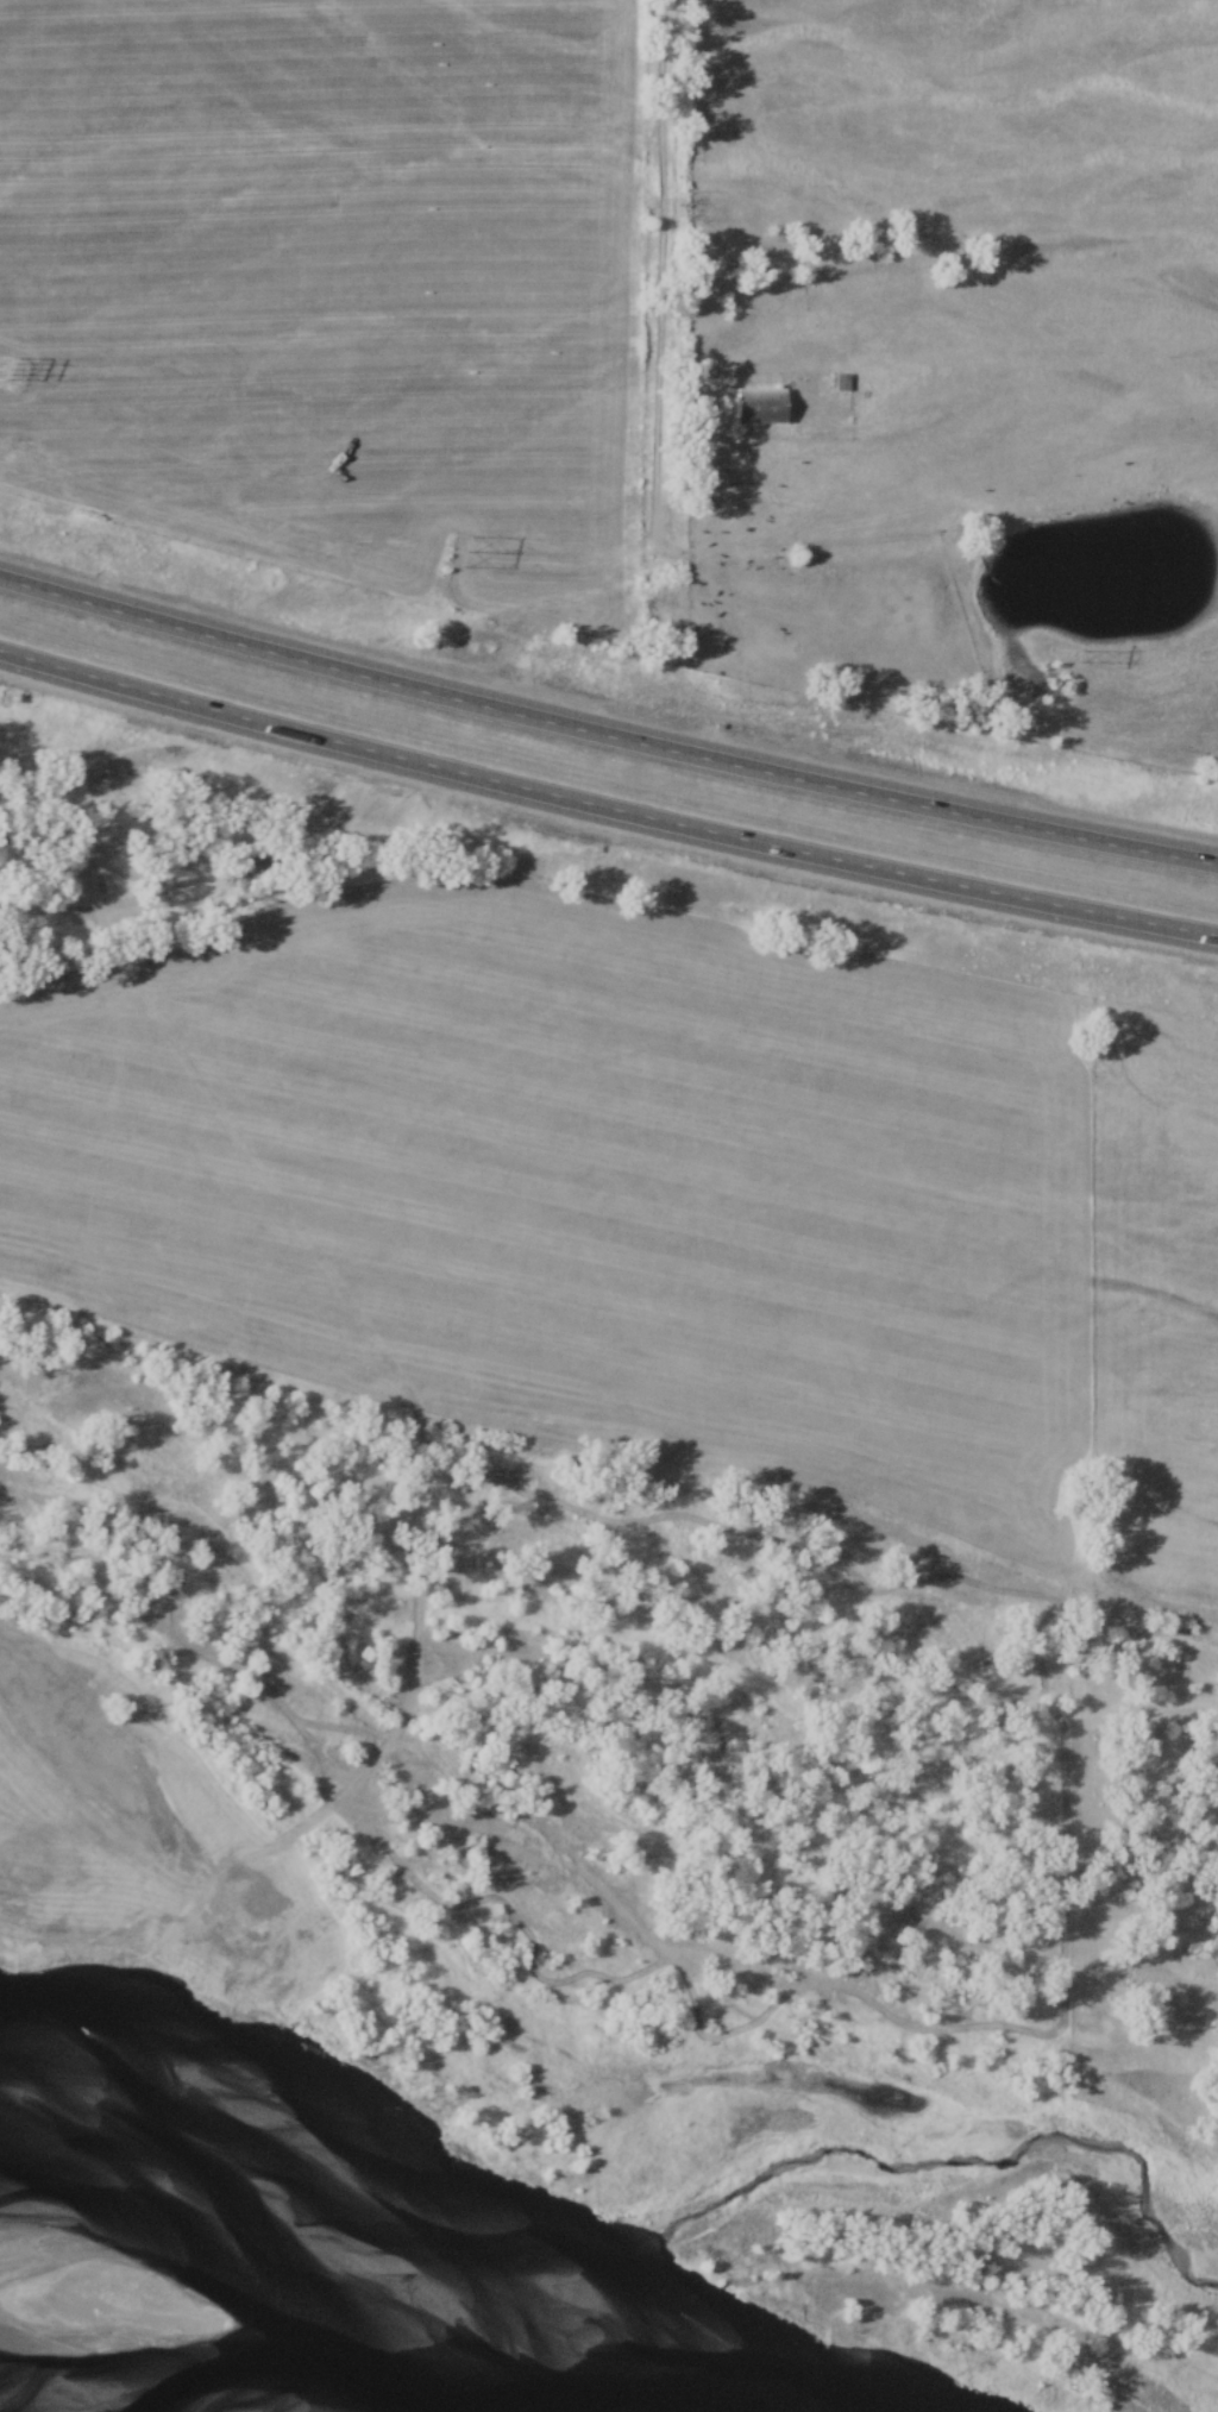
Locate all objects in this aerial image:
power tower: (4, 372)
building: (752, 407)
power tower: (447, 551)
power tower: (1060, 657)
road: (605, 735)
road: (605, 810)
river: (8, 2408)

